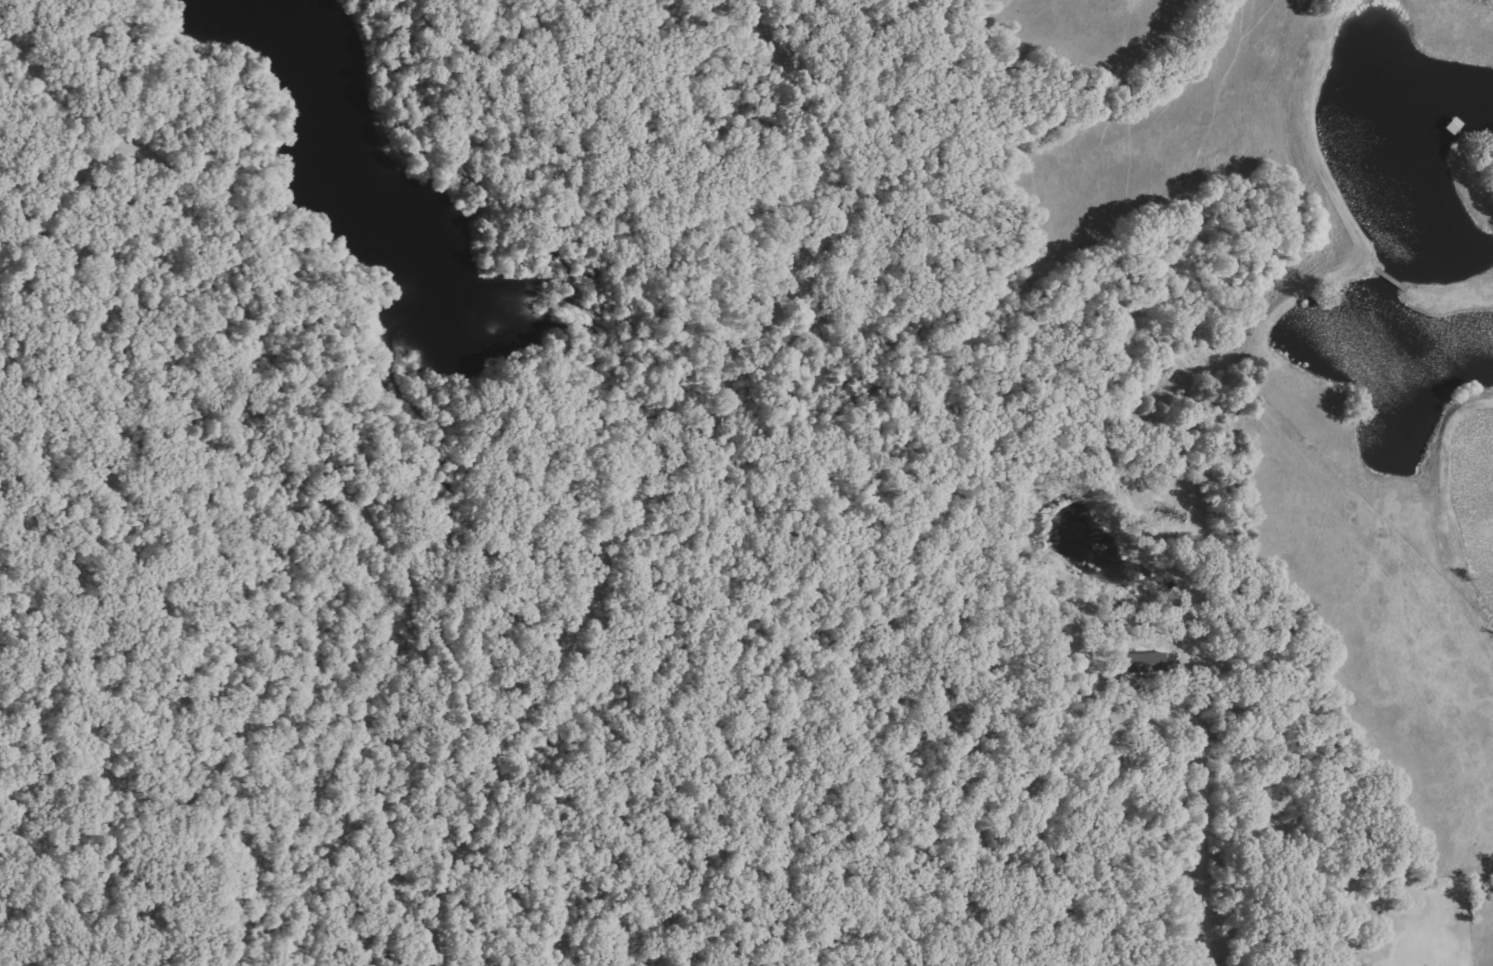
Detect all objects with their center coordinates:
road: (5, 55)
road: (198, 362)
road: (565, 466)
road: (1207, 834)

